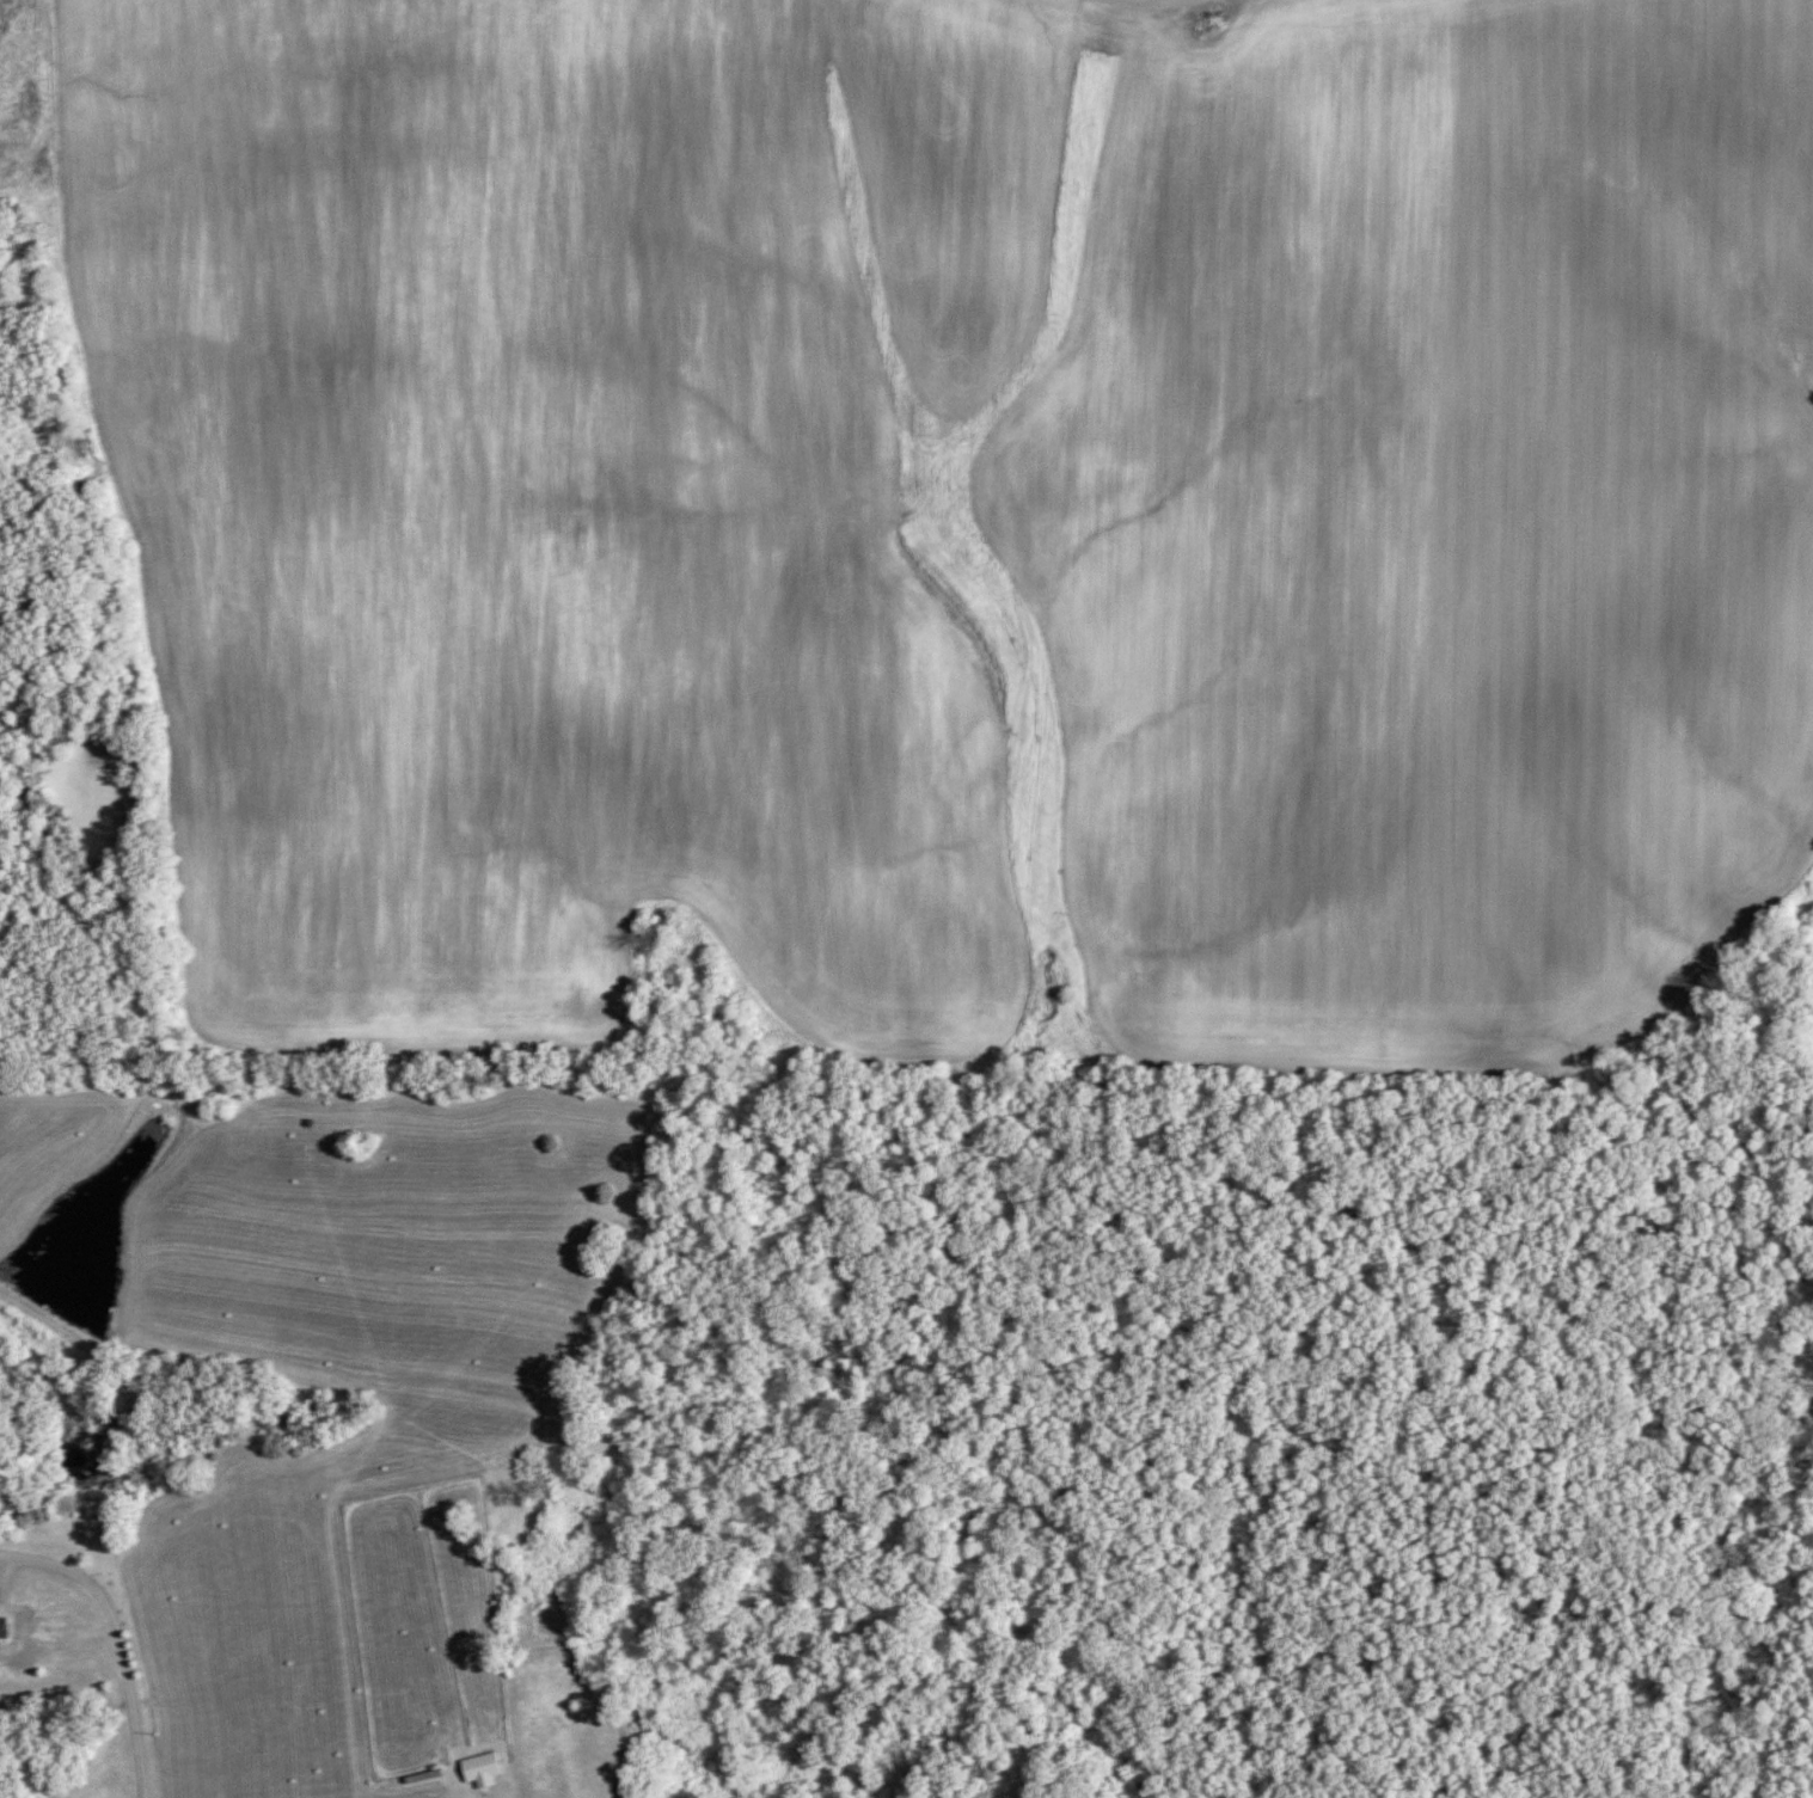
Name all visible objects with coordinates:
road: (1168, 8)
building: (5, 1636)
road: (114, 1637)
building: (485, 1771)

